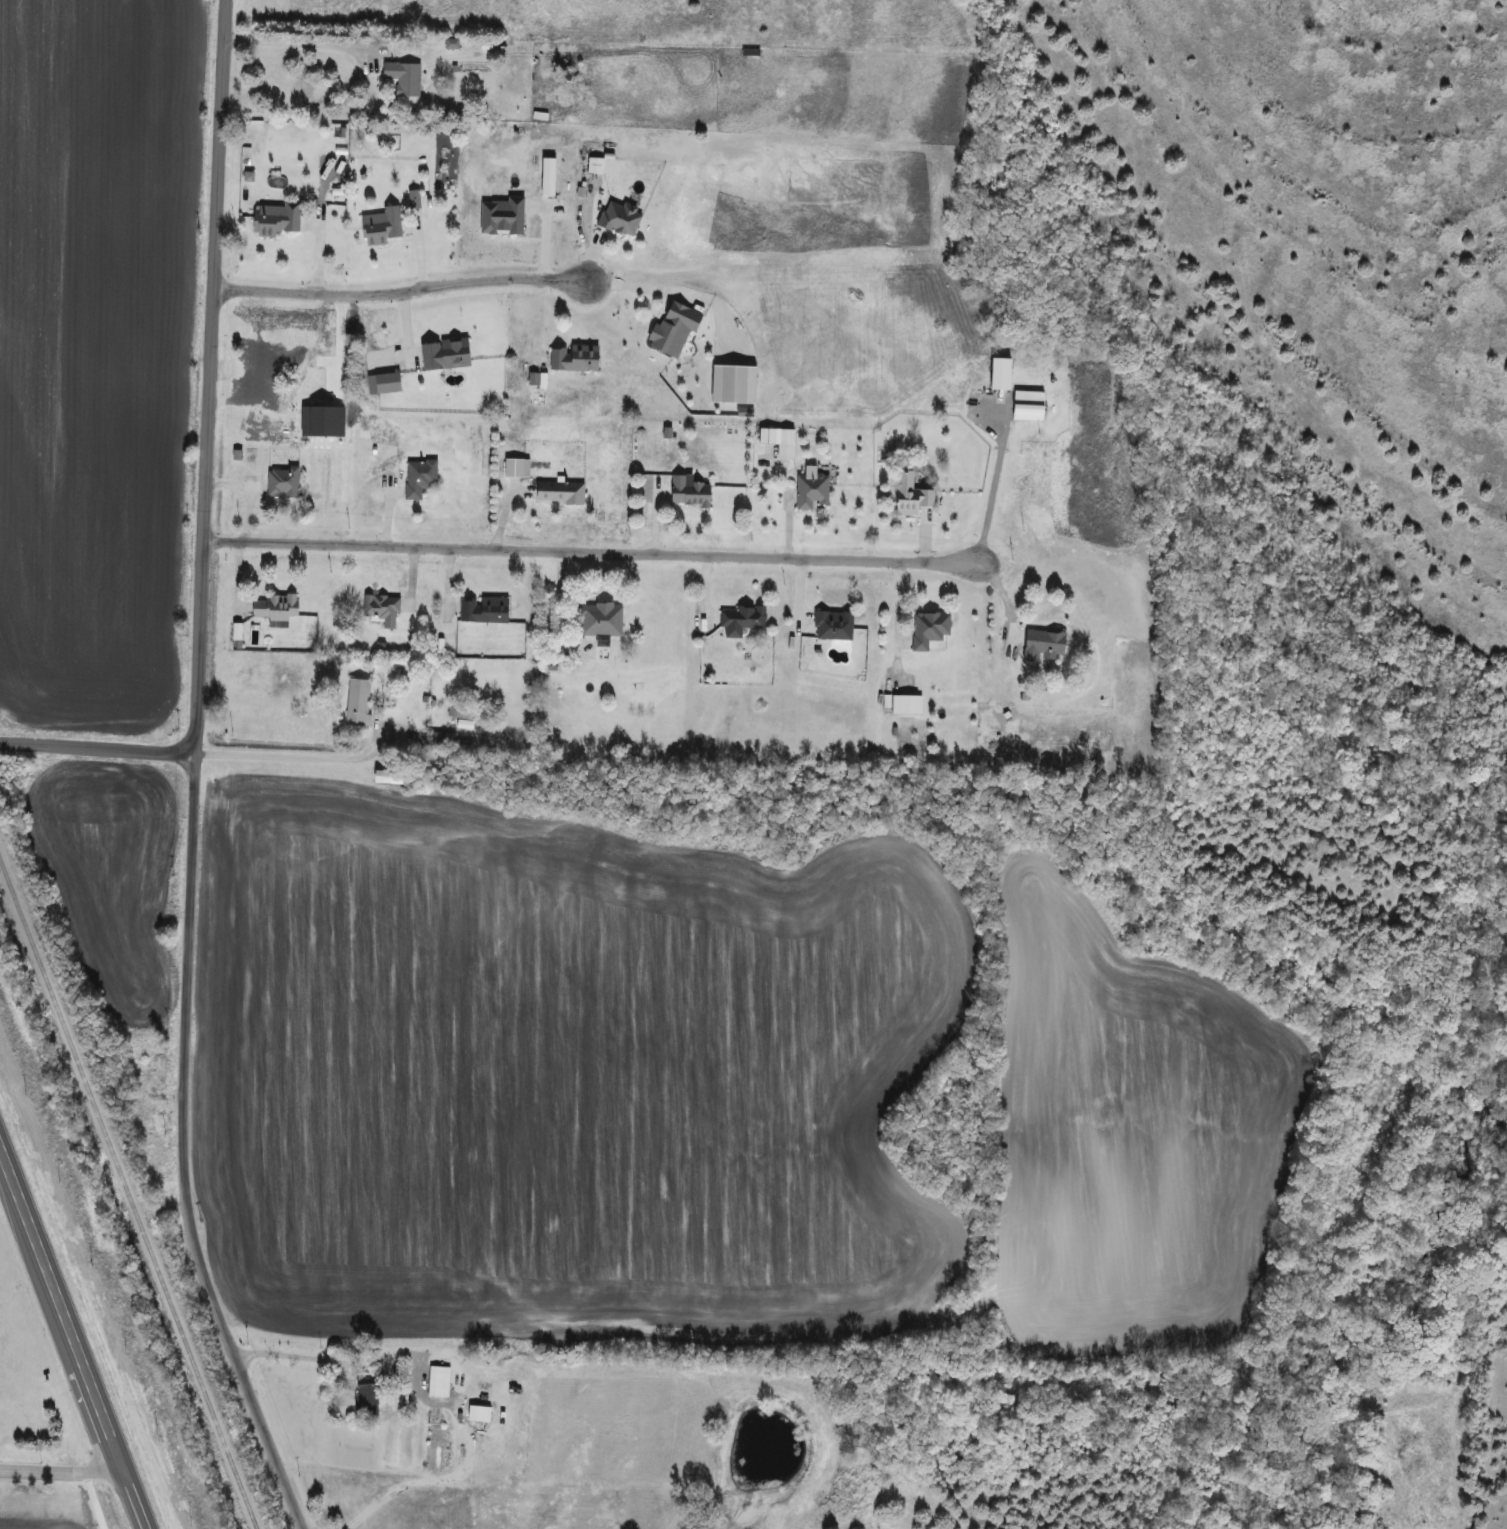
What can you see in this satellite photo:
road: (293, 42)
building: (402, 78)
building: (593, 166)
building: (275, 219)
building: (618, 219)
building: (380, 226)
road: (646, 284)
road: (397, 290)
building: (671, 330)
road: (335, 342)
building: (442, 354)
building: (572, 358)
building: (261, 372)
building: (998, 372)
road: (207, 377)
building: (731, 383)
building: (1026, 405)
building: (784, 436)
building: (515, 467)
building: (418, 477)
building: (281, 482)
road: (990, 489)
building: (809, 490)
building: (686, 491)
building: (557, 492)
building: (909, 494)
road: (587, 554)
building: (273, 607)
building: (380, 609)
building: (482, 610)
building: (599, 619)
building: (740, 620)
building: (831, 625)
building: (927, 629)
building: (1041, 646)
building: (357, 703)
building: (905, 704)
building: (459, 711)
building: (437, 739)
road: (96, 749)
road: (293, 756)
building: (140, 1076)
road: (185, 1151)
railway: (127, 1197)
road: (70, 1342)
building: (437, 1382)
building: (364, 1397)
road: (428, 1402)
building: (477, 1414)
road: (59, 1473)
building: (1383, 1528)

